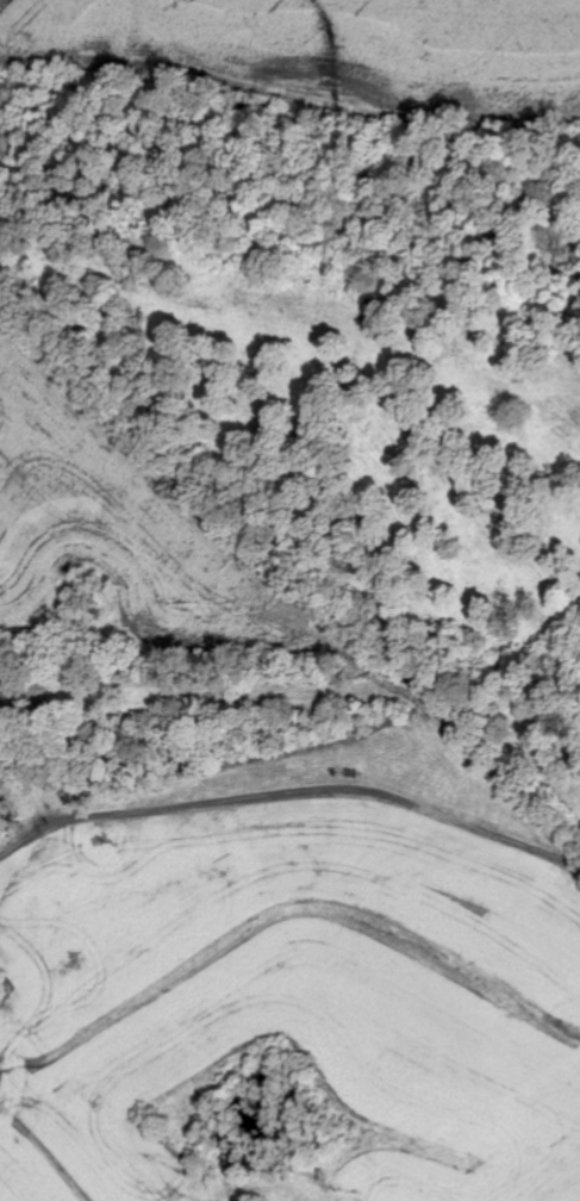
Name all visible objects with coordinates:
road: (293, 780)

